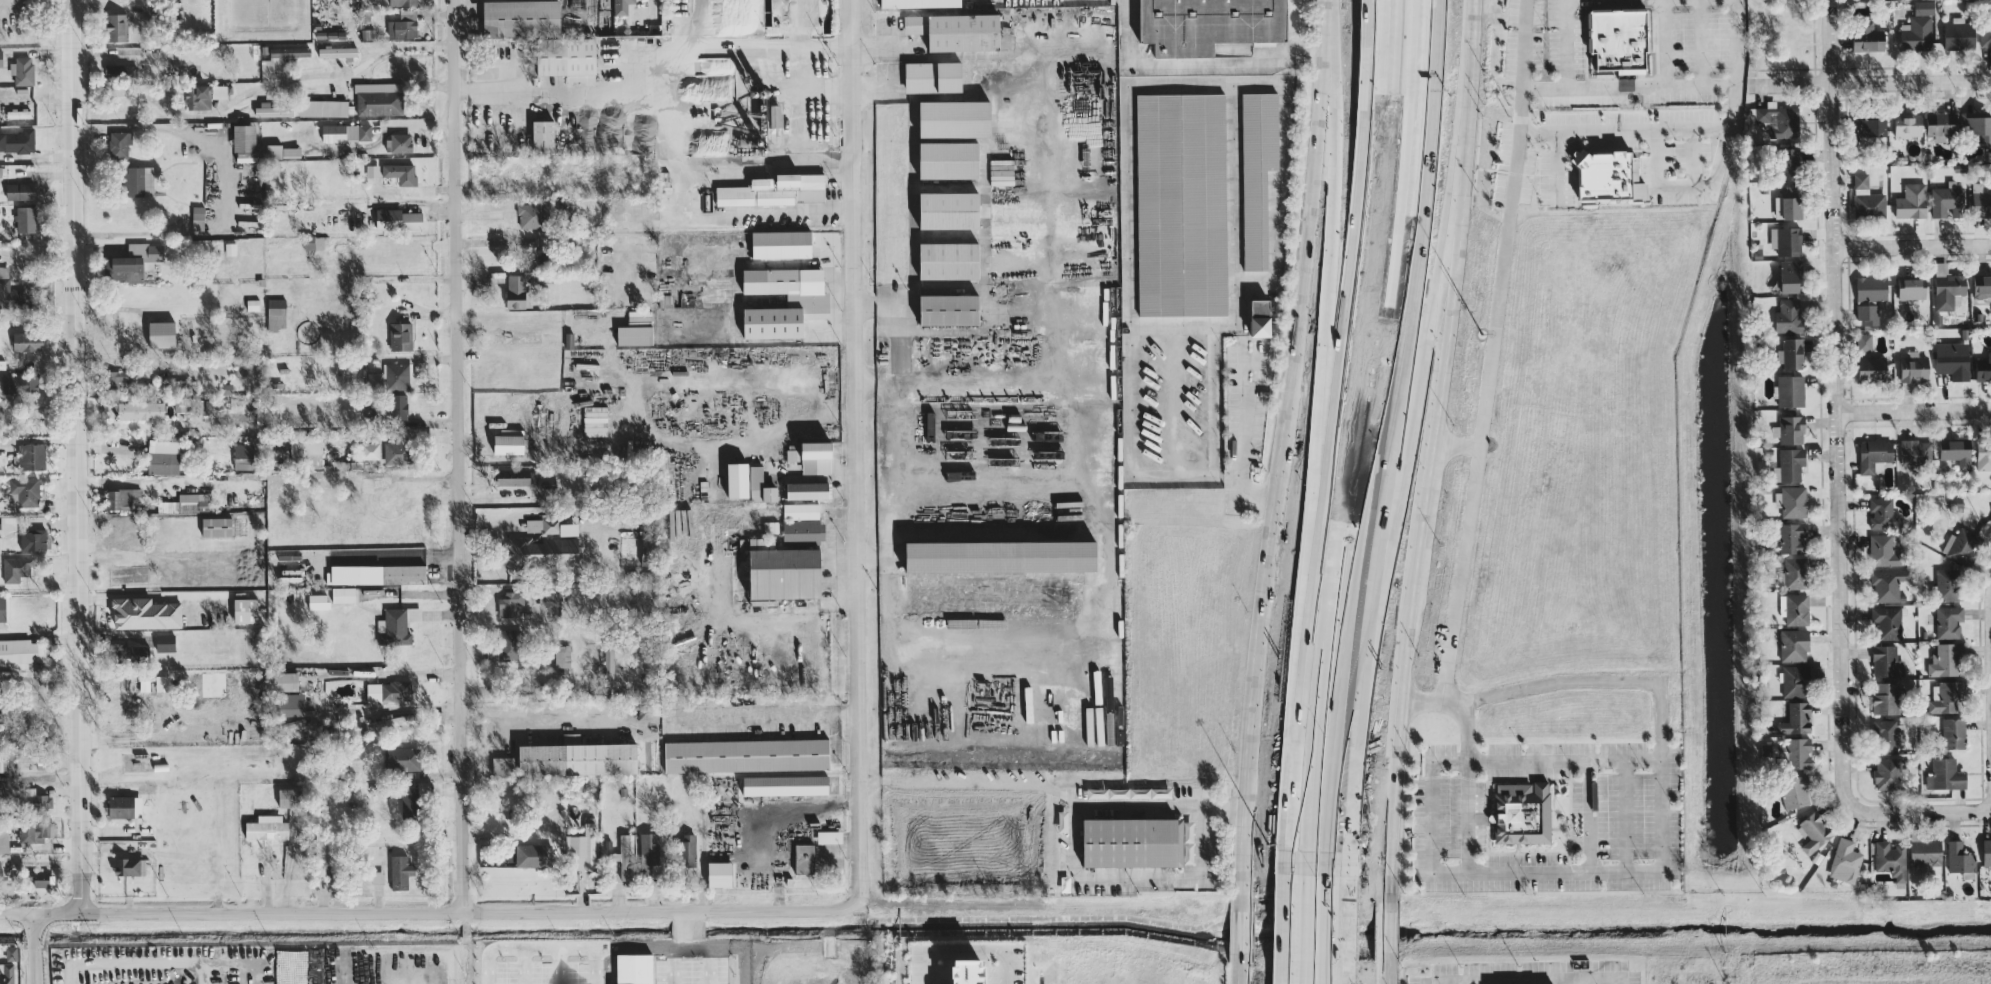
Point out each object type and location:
road: (1699, 0)
building: (403, 2)
road: (1566, 2)
road: (1616, 2)
building: (919, 3)
building: (620, 6)
building: (521, 18)
building: (403, 24)
building: (1209, 24)
building: (116, 27)
road: (698, 27)
building: (1918, 28)
road: (1298, 30)
building: (956, 31)
building: (1959, 33)
building: (1985, 35)
building: (1868, 38)
building: (1619, 40)
road: (1702, 43)
road: (1523, 44)
building: (289, 51)
building: (337, 52)
road: (722, 53)
building: (0, 58)
building: (566, 58)
building: (266, 65)
road: (1197, 67)
building: (21, 70)
building: (120, 72)
building: (933, 77)
road: (320, 78)
road: (1251, 80)
road: (1870, 82)
road: (132, 95)
building: (198, 97)
building: (379, 98)
building: (322, 108)
building: (274, 110)
building: (775, 115)
building: (954, 119)
building: (1942, 123)
building: (1908, 125)
building: (1977, 125)
building: (1870, 127)
road: (181, 131)
road: (1643, 131)
building: (346, 132)
road: (600, 134)
building: (543, 135)
building: (18, 141)
building: (244, 142)
building: (399, 142)
road: (1519, 142)
building: (118, 144)
road: (507, 148)
building: (283, 151)
road: (1688, 157)
building: (948, 160)
building: (1788, 163)
road: (1555, 166)
building: (1258, 172)
building: (400, 173)
road: (1128, 173)
building: (1609, 175)
building: (138, 180)
road: (1682, 186)
building: (774, 190)
building: (19, 191)
building: (1867, 199)
building: (1980, 199)
building: (1948, 200)
building: (1912, 201)
building: (1789, 203)
building: (1181, 204)
building: (949, 211)
building: (531, 215)
building: (197, 217)
building: (25, 219)
building: (397, 219)
road: (762, 220)
building: (1786, 241)
building: (313, 242)
building: (781, 244)
road: (1913, 247)
building: (135, 261)
building: (949, 261)
building: (1791, 276)
road: (1360, 285)
building: (1948, 286)
building: (1982, 286)
building: (5, 287)
building: (1912, 287)
building: (1871, 288)
building: (517, 291)
building: (807, 299)
building: (252, 304)
building: (1260, 308)
building: (949, 310)
building: (276, 313)
building: (1868, 314)
building: (1788, 315)
road: (1398, 320)
road: (1339, 328)
building: (161, 333)
building: (634, 334)
building: (400, 335)
building: (27, 341)
building: (1864, 341)
building: (1791, 353)
building: (1953, 362)
building: (1914, 366)
building: (1983, 367)
building: (1872, 368)
building: (117, 376)
building: (390, 376)
road: (983, 381)
building: (19, 382)
building: (1790, 390)
road: (1177, 397)
road: (1835, 402)
building: (398, 405)
building: (140, 409)
road: (1913, 410)
road: (1411, 415)
building: (595, 420)
road: (986, 428)
building: (1790, 428)
road: (1242, 432)
building: (508, 443)
building: (306, 447)
building: (370, 450)
road: (860, 450)
building: (1915, 450)
building: (1957, 451)
building: (394, 452)
building: (1875, 454)
road: (459, 455)
building: (1984, 455)
building: (29, 456)
road: (73, 456)
building: (163, 456)
building: (816, 456)
building: (243, 460)
building: (1789, 464)
road: (990, 475)
building: (516, 476)
building: (760, 485)
building: (807, 489)
building: (25, 490)
road: (1281, 491)
road: (1426, 491)
building: (120, 497)
building: (1791, 500)
building: (184, 502)
building: (800, 510)
building: (1883, 512)
building: (549, 525)
building: (216, 526)
building: (803, 530)
building: (1792, 537)
building: (33, 538)
building: (0, 545)
building: (1962, 545)
building: (1883, 550)
building: (544, 551)
building: (648, 551)
building: (1000, 555)
road: (875, 560)
building: (17, 569)
building: (289, 569)
building: (782, 570)
building: (1795, 572)
building: (391, 573)
road: (1465, 574)
building: (1888, 583)
building: (1948, 583)
building: (343, 594)
building: (318, 600)
building: (508, 603)
building: (2, 608)
building: (1794, 608)
building: (245, 609)
road: (1990, 611)
building: (144, 612)
building: (1887, 620)
building: (1948, 621)
building: (396, 625)
building: (165, 642)
building: (1794, 644)
building: (22, 650)
building: (503, 650)
road: (983, 652)
building: (562, 655)
road: (1068, 657)
building: (1884, 659)
building: (1945, 659)
building: (608, 664)
building: (285, 680)
building: (1795, 680)
road: (1653, 681)
building: (162, 682)
building: (387, 691)
building: (1946, 696)
building: (1886, 697)
building: (1796, 717)
road: (660, 720)
building: (392, 721)
building: (1056, 725)
road: (1311, 726)
building: (1954, 732)
building: (1885, 733)
road: (1465, 735)
building: (1097, 737)
building: (1797, 752)
building: (746, 754)
building: (400, 758)
building: (577, 758)
road: (1331, 758)
building: (0, 763)
building: (503, 765)
building: (1888, 773)
building: (1945, 774)
building: (785, 784)
road: (1054, 789)
building: (1795, 791)
building: (1137, 792)
building: (34, 796)
building: (287, 797)
building: (124, 806)
building: (1522, 812)
road: (1918, 813)
road: (1470, 816)
road: (1626, 817)
building: (266, 827)
building: (36, 829)
building: (1815, 831)
building: (829, 836)
building: (1138, 841)
road: (1665, 846)
building: (582, 847)
building: (687, 849)
building: (1987, 851)
building: (1926, 853)
building: (530, 854)
building: (649, 854)
building: (624, 855)
building: (804, 858)
building: (1890, 859)
building: (1960, 859)
building: (1845, 860)
building: (129, 866)
building: (6, 869)
building: (400, 871)
building: (719, 873)
road: (1499, 873)
building: (40, 878)
road: (429, 912)
road: (1319, 932)
road: (1298, 933)
road: (35, 948)
road: (963, 955)
road: (136, 963)
road: (255, 963)
building: (632, 968)
building: (964, 972)
building: (6, 973)
road: (1528, 976)

